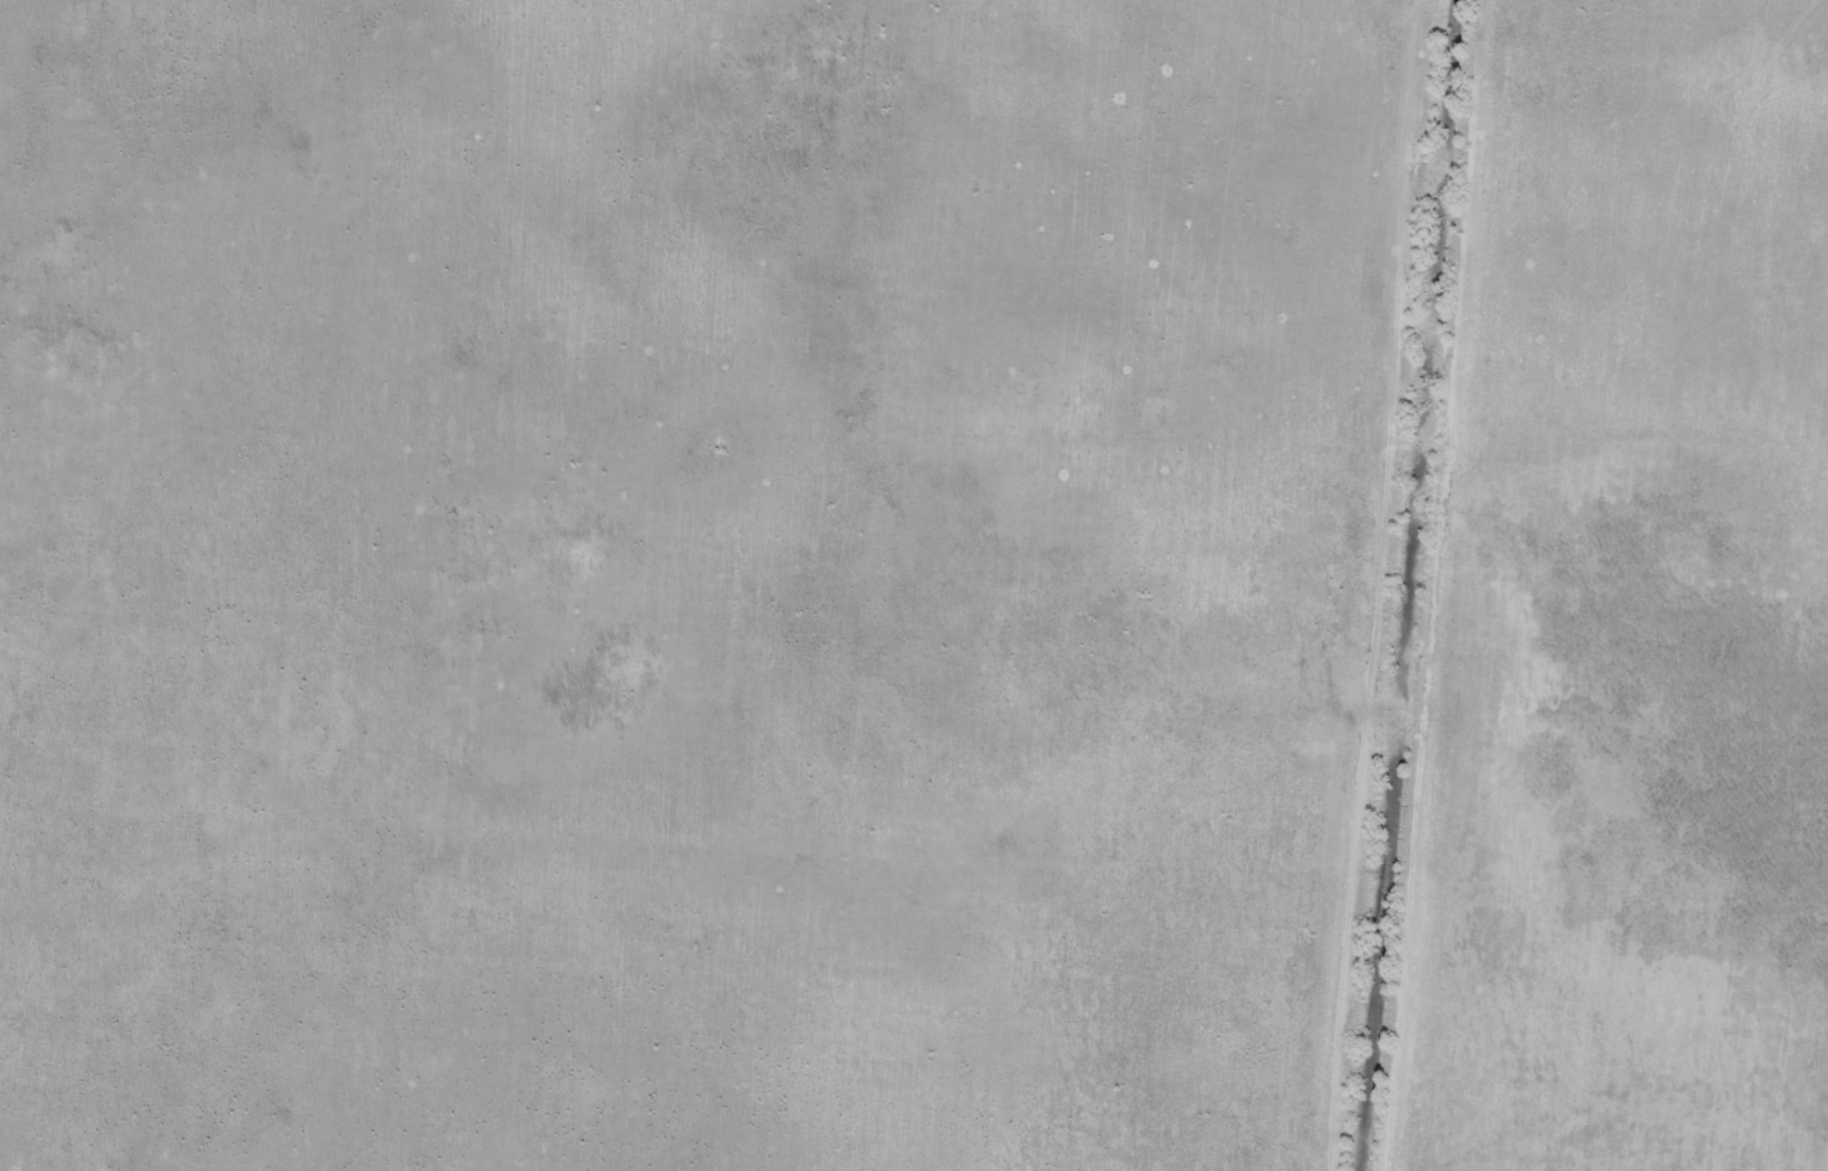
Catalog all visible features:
road: (1375, 587)

